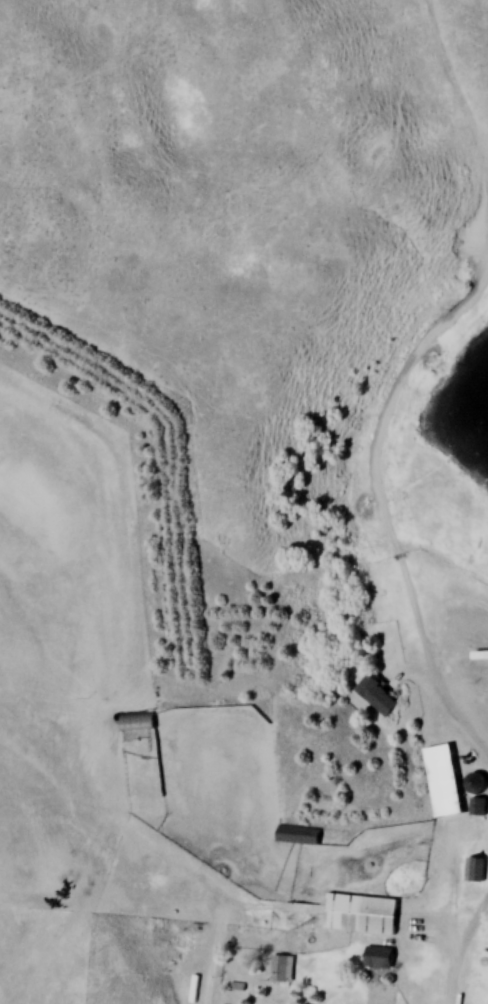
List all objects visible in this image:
road: (434, 677)
building: (376, 695)
building: (138, 721)
building: (444, 780)
building: (476, 783)
building: (478, 807)
building: (298, 835)
building: (361, 915)
road: (462, 955)
building: (379, 957)
building: (281, 969)

